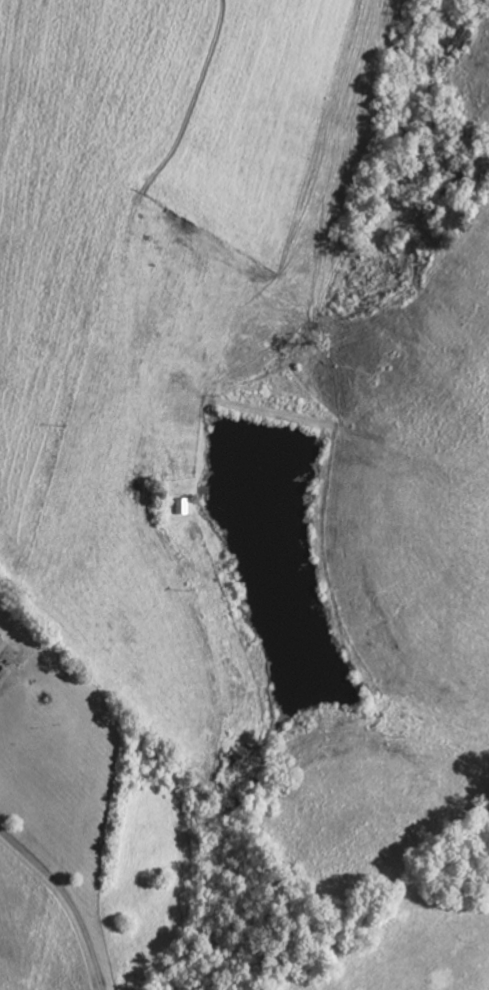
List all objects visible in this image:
building: (186, 507)
building: (4, 646)
building: (8, 659)
road: (66, 900)

